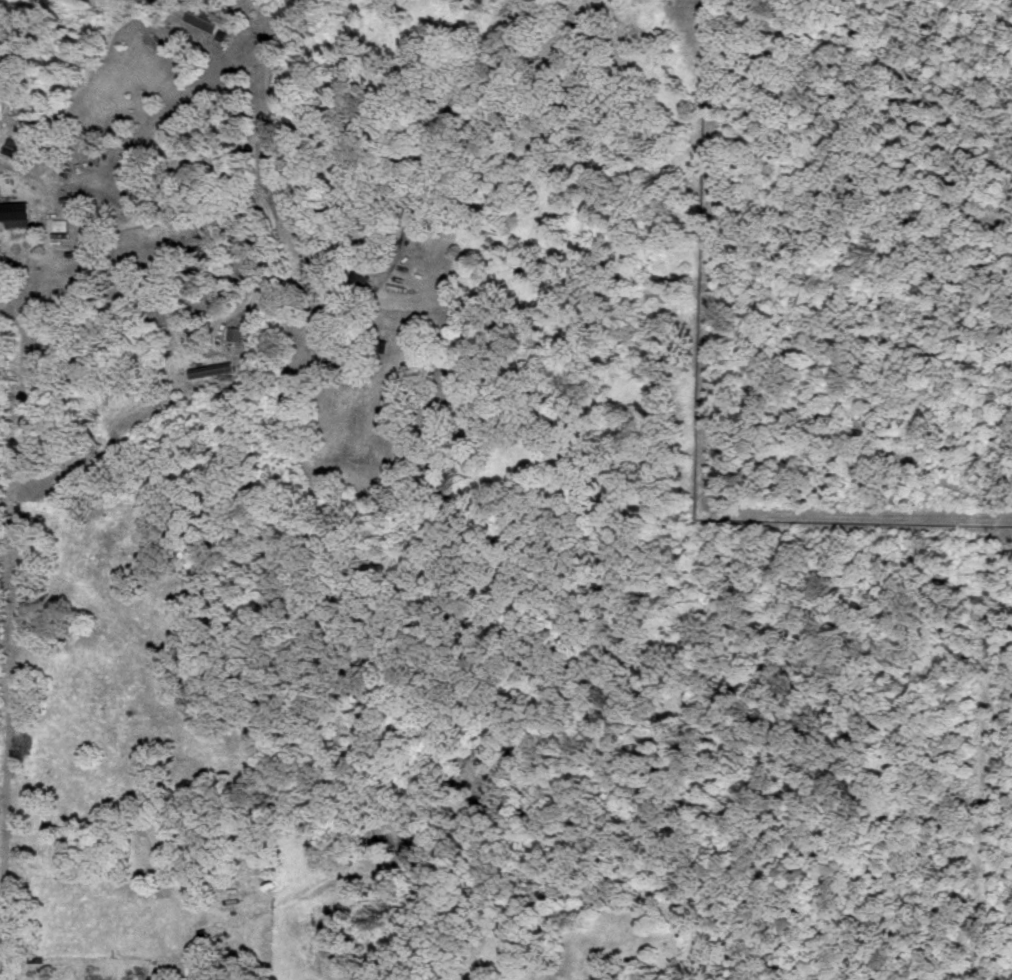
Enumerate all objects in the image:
building: (205, 16)
road: (169, 123)
road: (442, 137)
building: (16, 212)
road: (227, 231)
building: (235, 332)
building: (201, 968)

